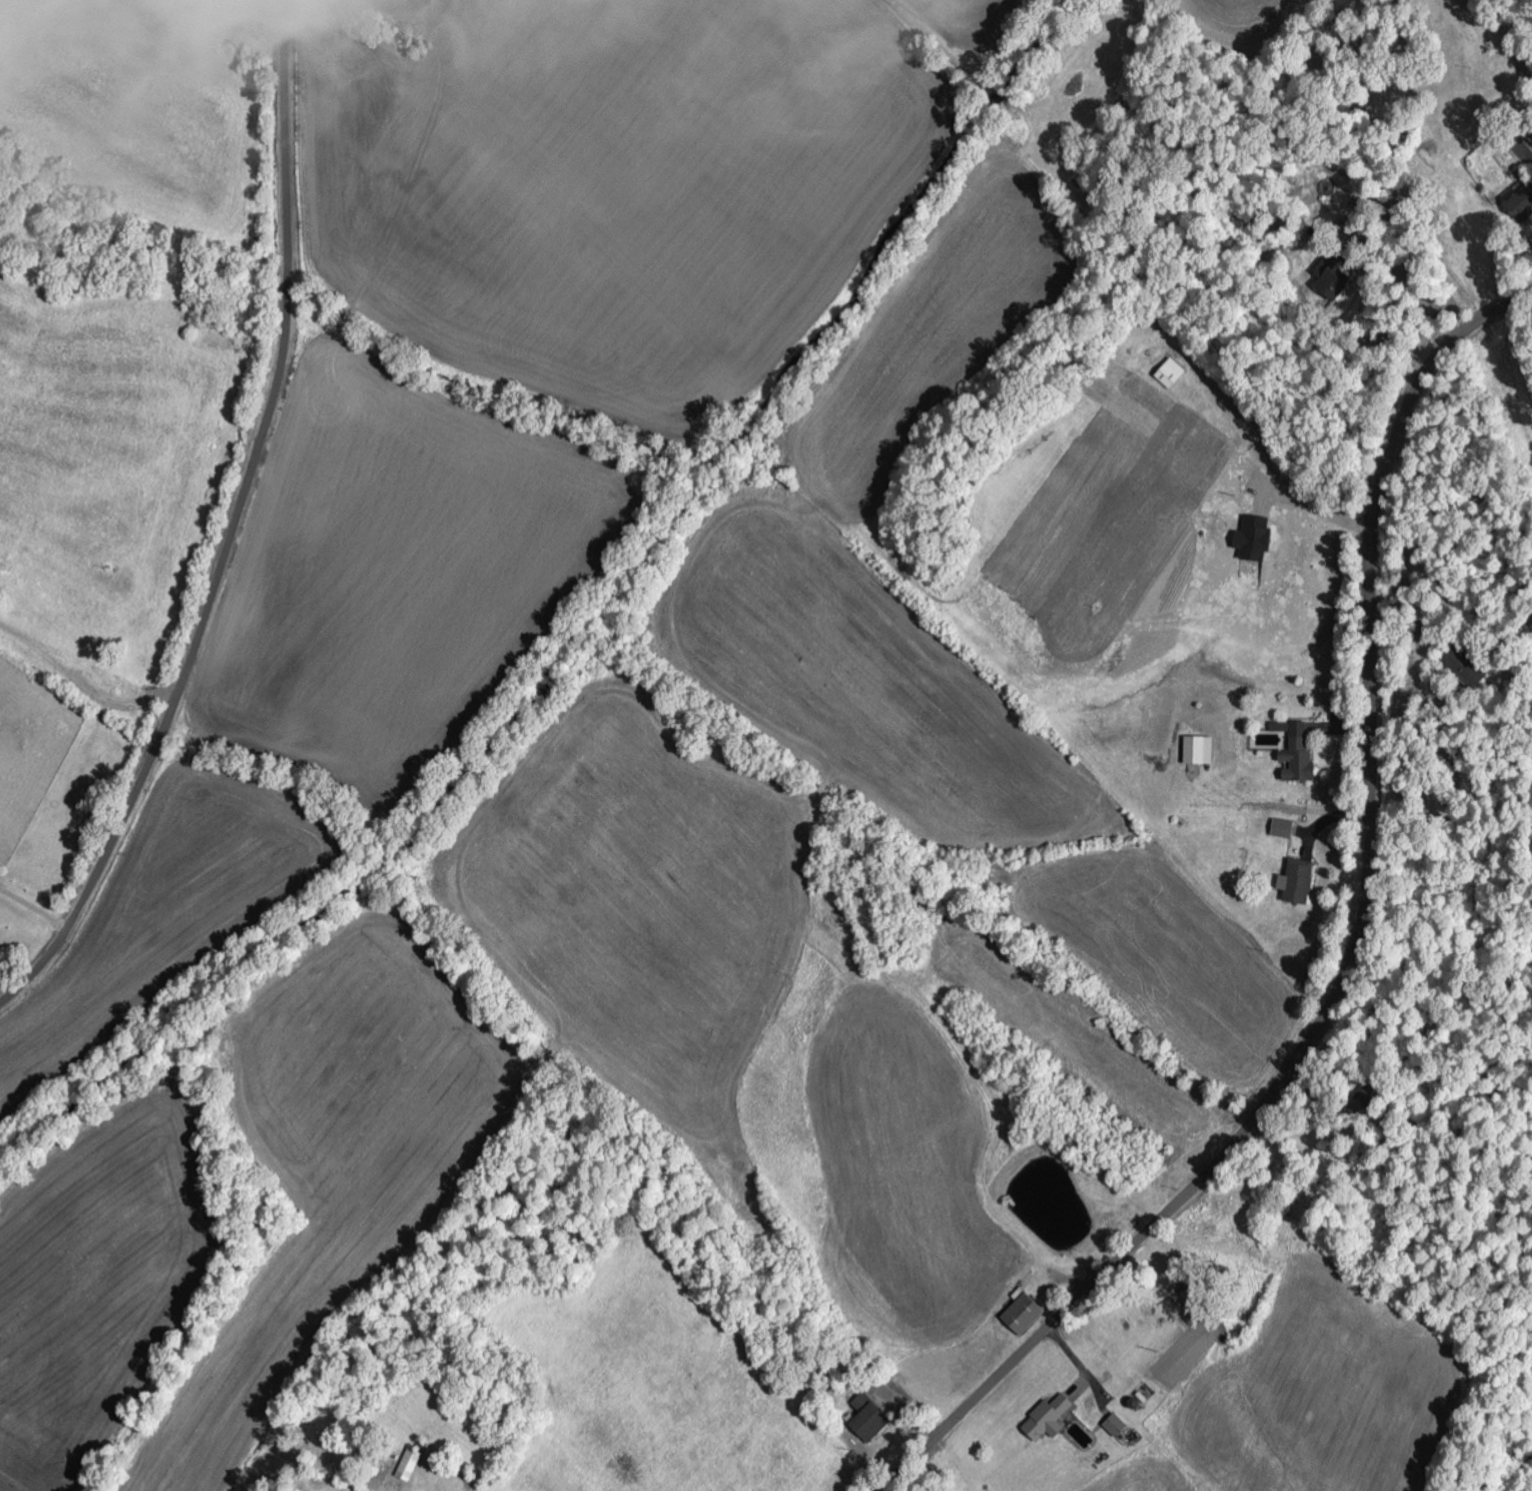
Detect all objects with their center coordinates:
building: (1521, 203)
building: (1332, 278)
building: (1170, 374)
road: (233, 528)
building: (1252, 538)
building: (1198, 750)
building: (1296, 752)
building: (1282, 828)
building: (1296, 882)
road: (1354, 949)
building: (1360, 1099)
building: (1021, 1314)
building: (867, 1419)
building: (1046, 1419)
building: (1114, 1425)
road: (1, 1489)

